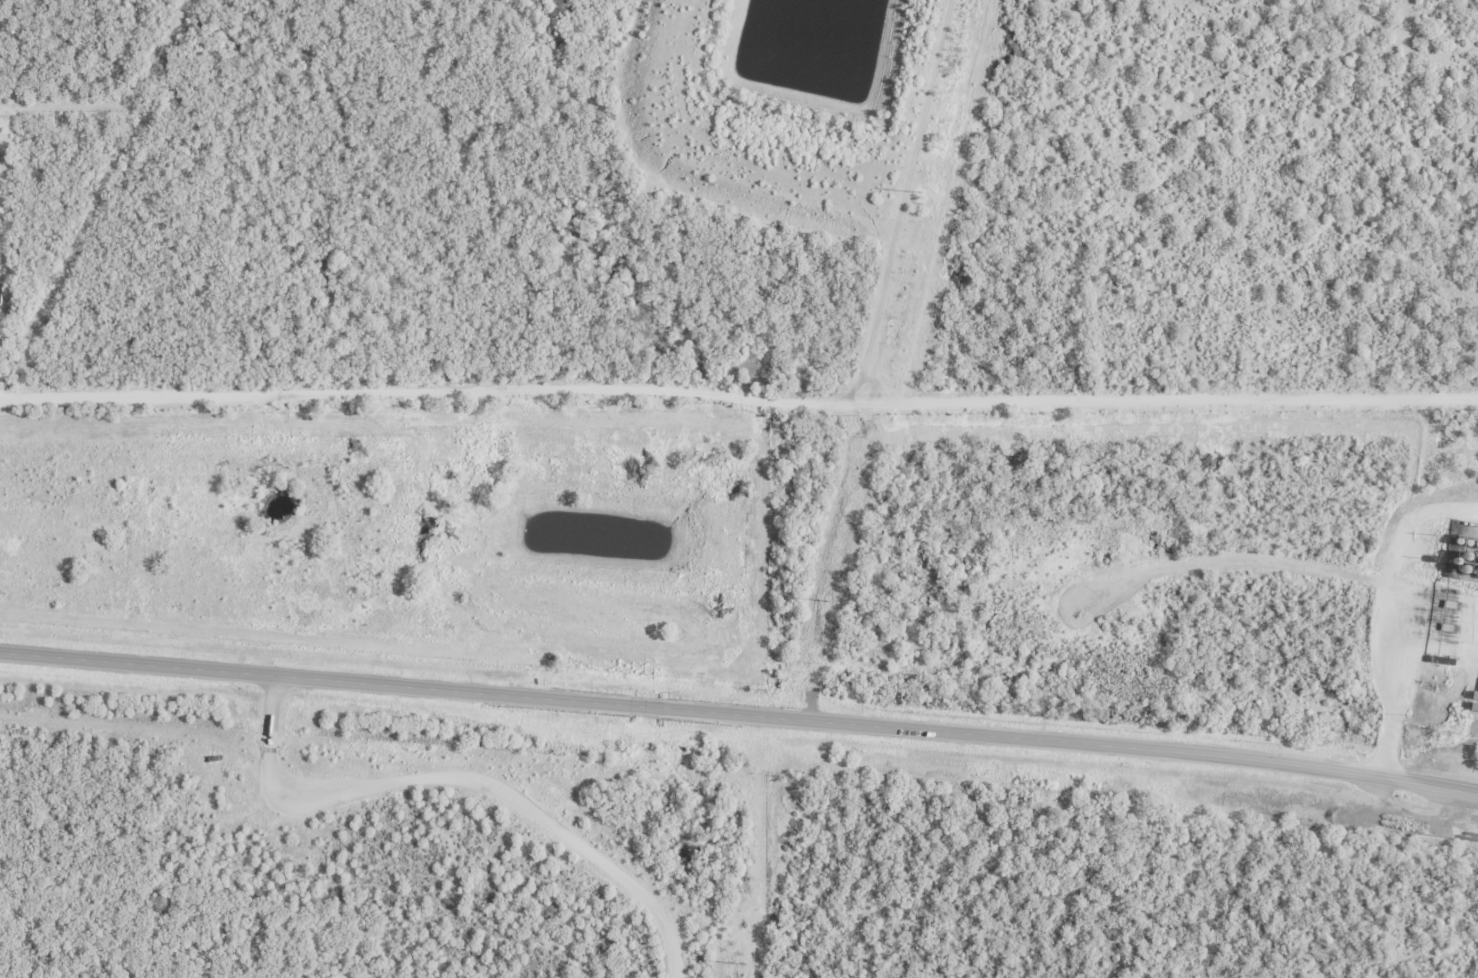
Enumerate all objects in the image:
power tower: (918, 191)
power tower: (823, 600)
road: (311, 678)
road: (643, 706)
road: (1070, 742)
road: (467, 781)
power tower: (740, 963)

